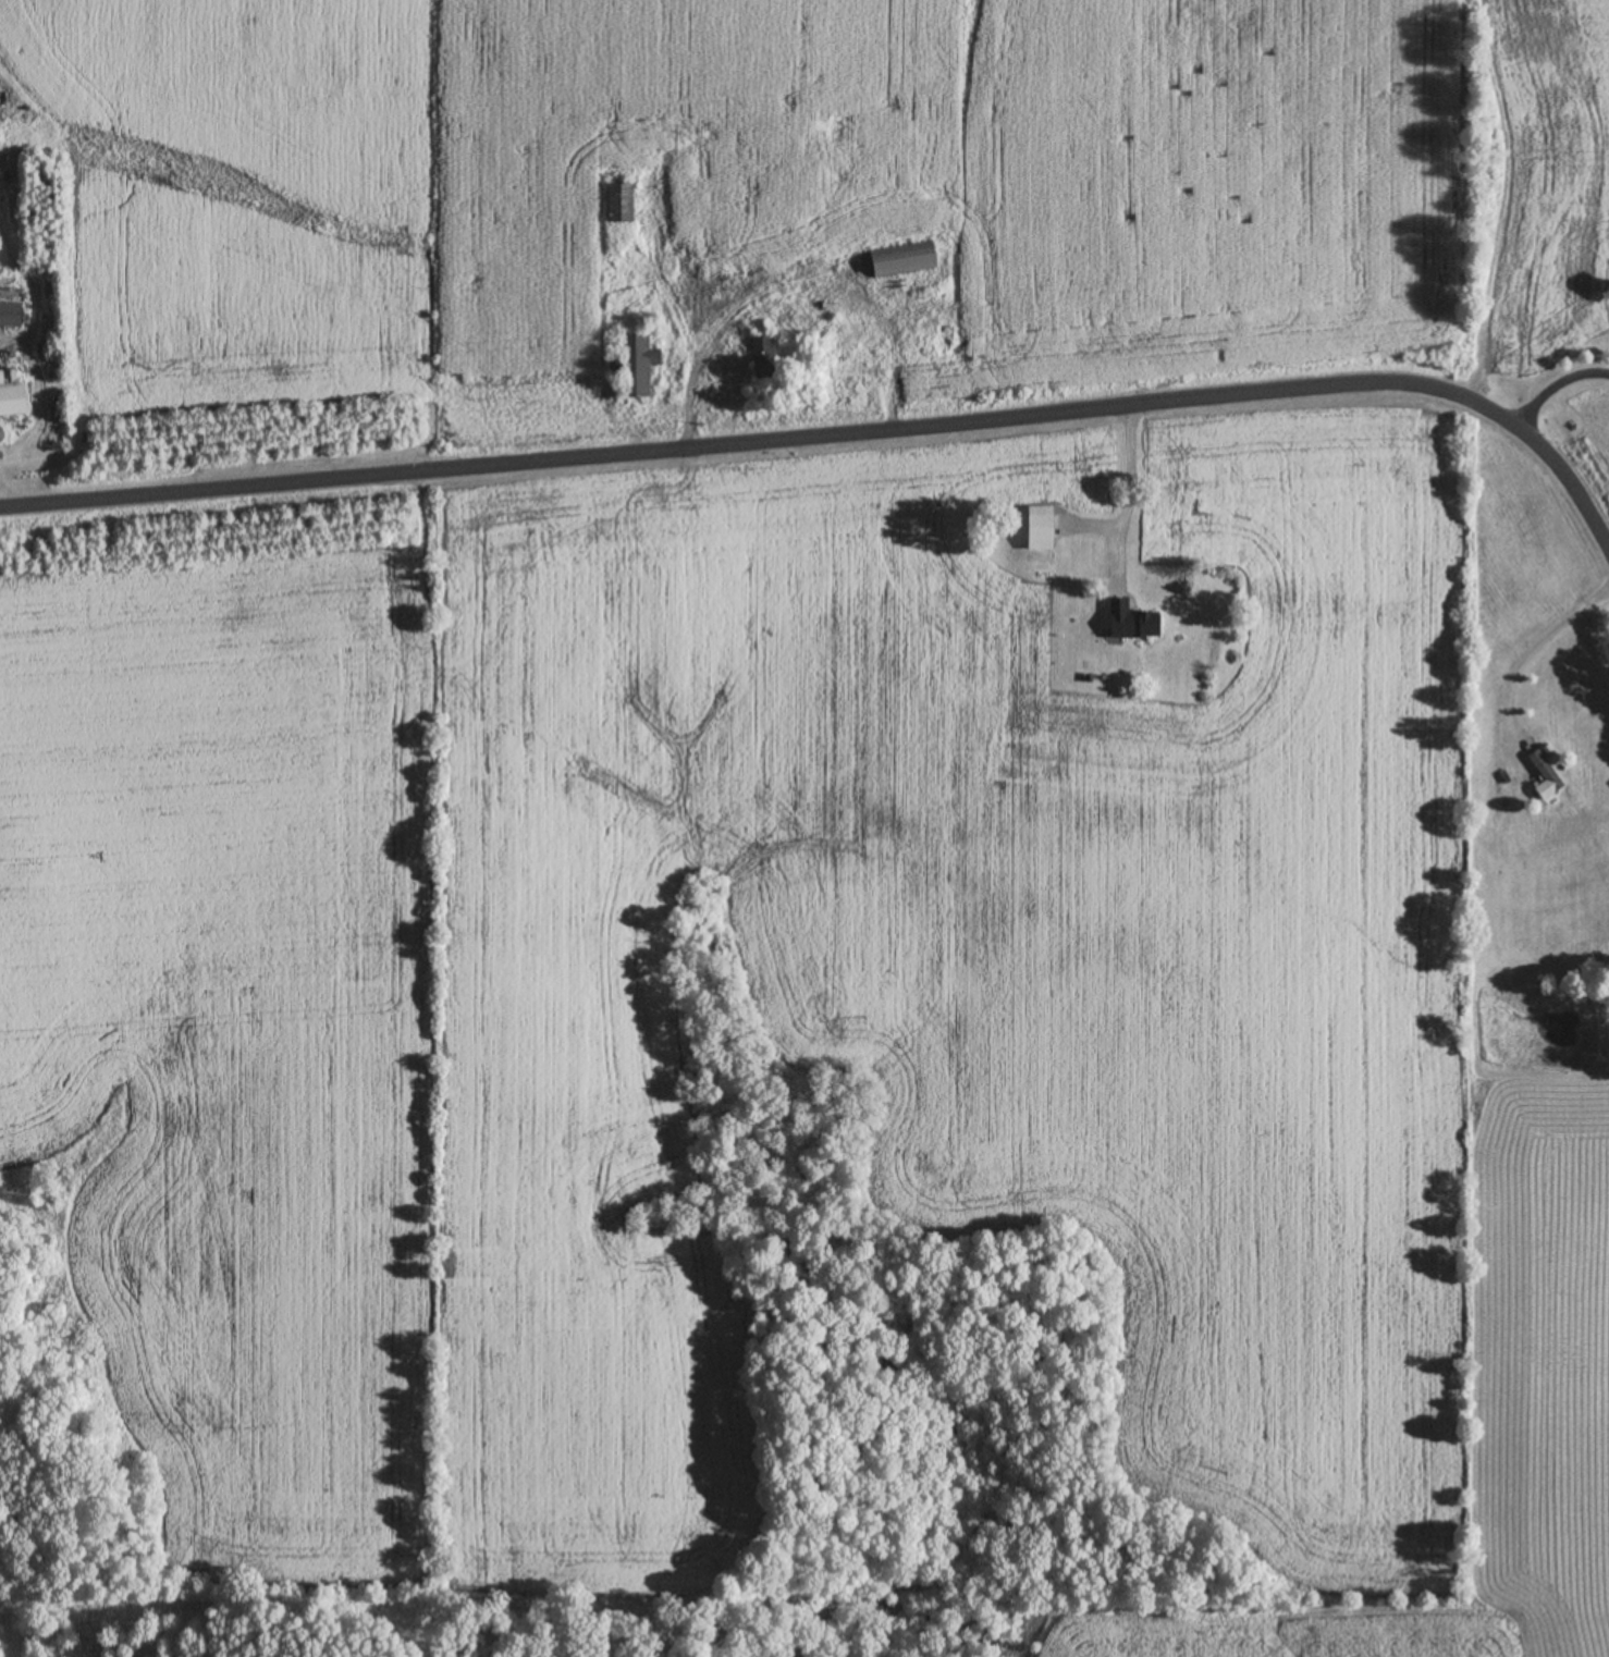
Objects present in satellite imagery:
building: (616, 204)
building: (901, 260)
building: (11, 314)
building: (847, 337)
building: (760, 361)
building: (636, 365)
building: (852, 371)
road: (1555, 384)
building: (10, 393)
building: (1, 433)
road: (837, 433)
building: (1037, 528)
building: (1126, 621)
road: (1525, 658)
building: (1543, 775)

